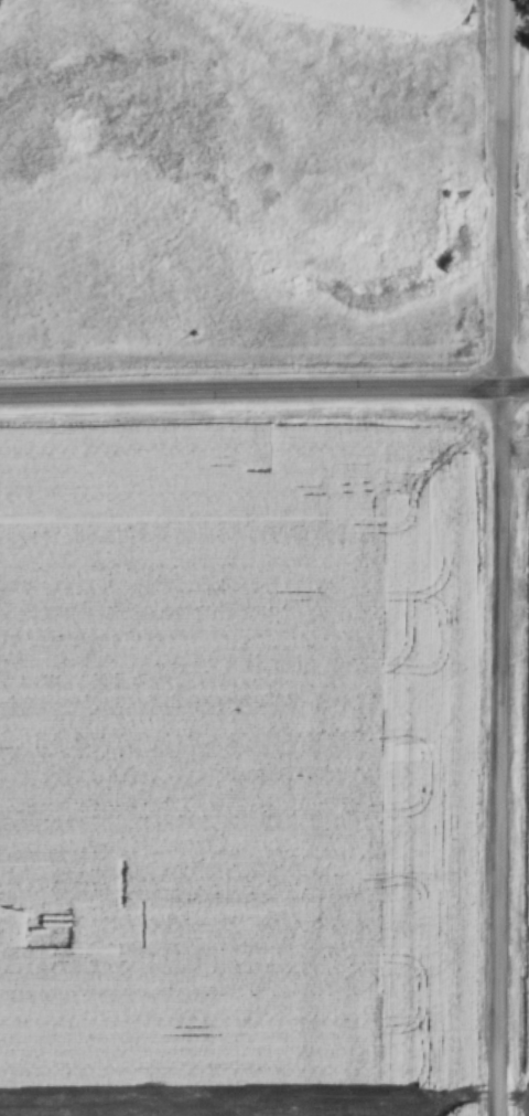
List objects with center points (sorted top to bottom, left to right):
road: (263, 403)
road: (510, 557)

